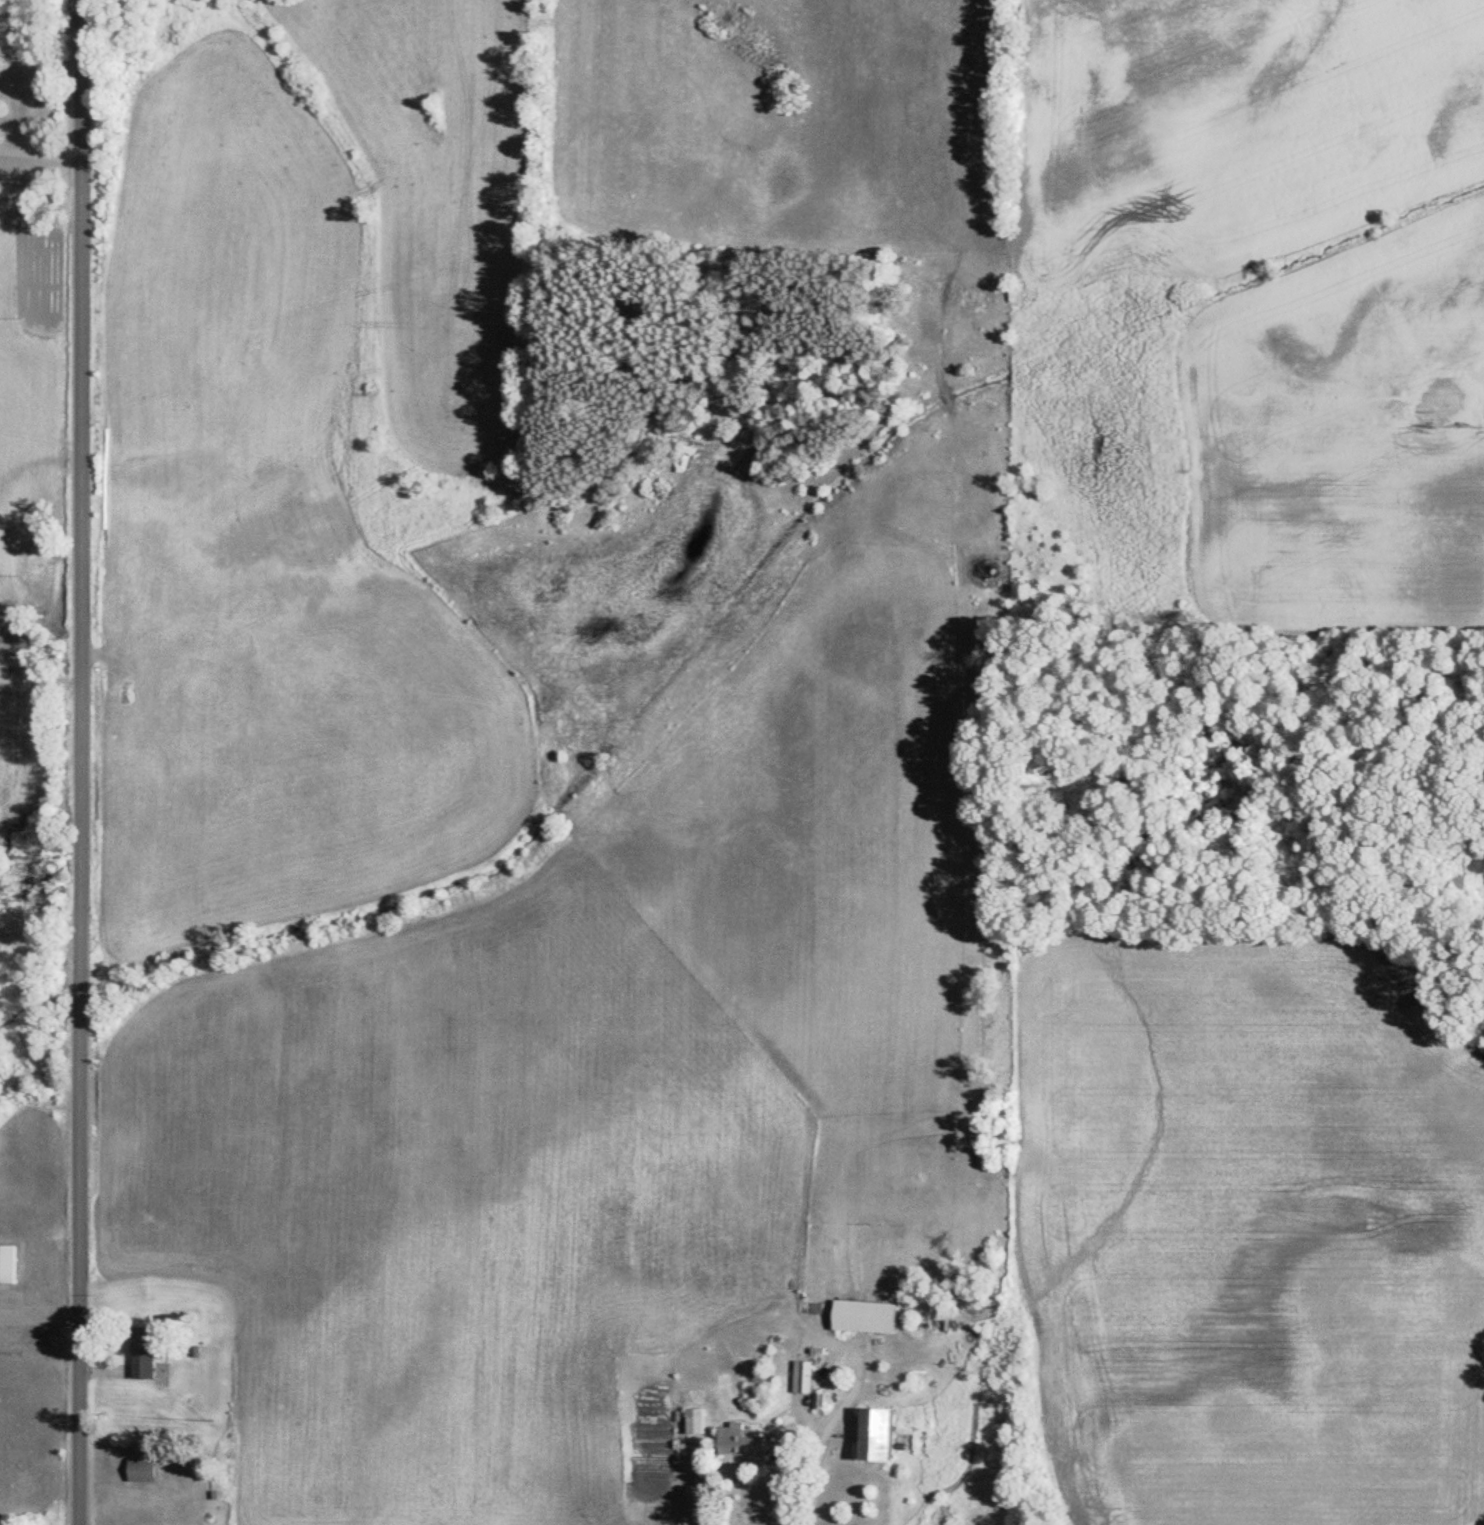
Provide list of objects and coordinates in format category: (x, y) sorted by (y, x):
road: (35, 150)
road: (77, 762)
building: (7, 1265)
building: (859, 1317)
building: (141, 1354)
building: (798, 1377)
building: (755, 1379)
building: (693, 1422)
building: (869, 1434)
building: (742, 1444)
road: (818, 1446)
building: (139, 1470)
road: (698, 1485)

